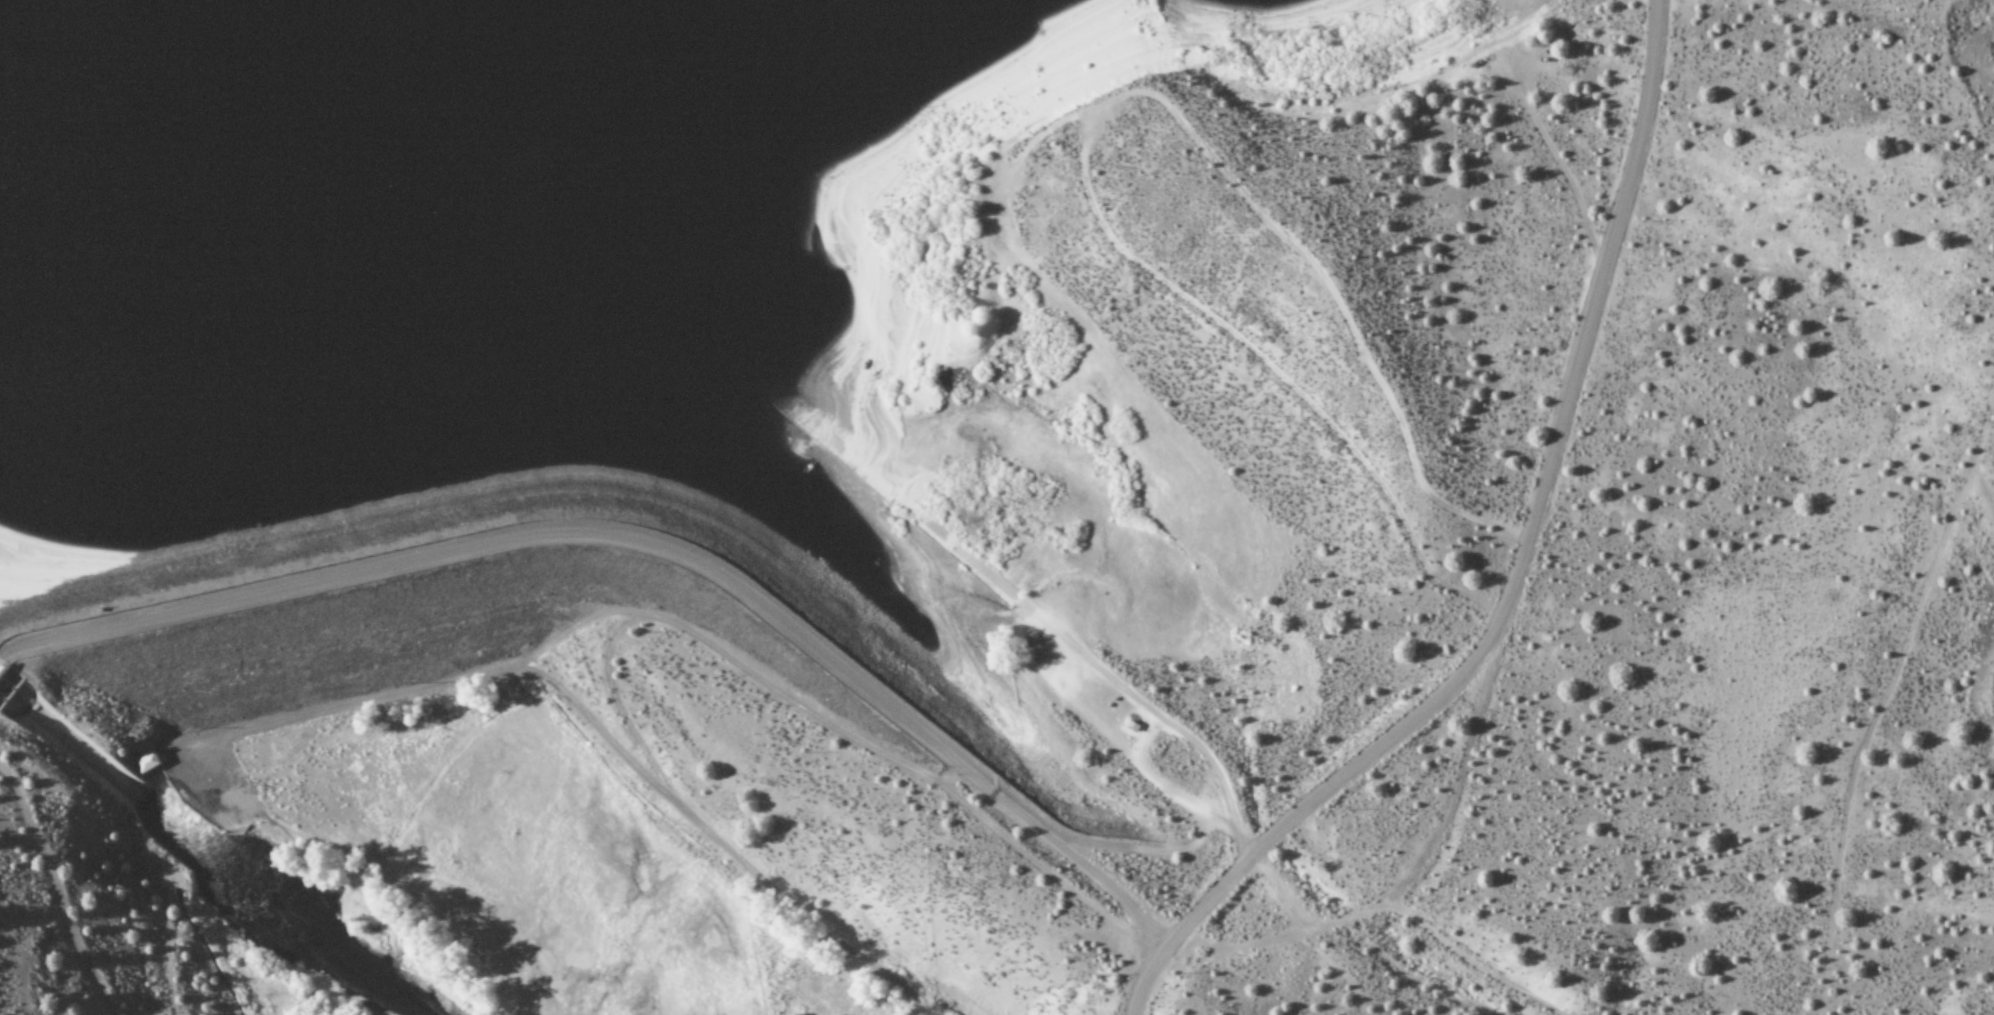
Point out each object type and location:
river: (135, 337)
road: (649, 544)
road: (1520, 575)
dam: (516, 651)
river: (1, 693)
building: (147, 762)
river: (223, 859)
road: (1406, 910)
building: (788, 997)

